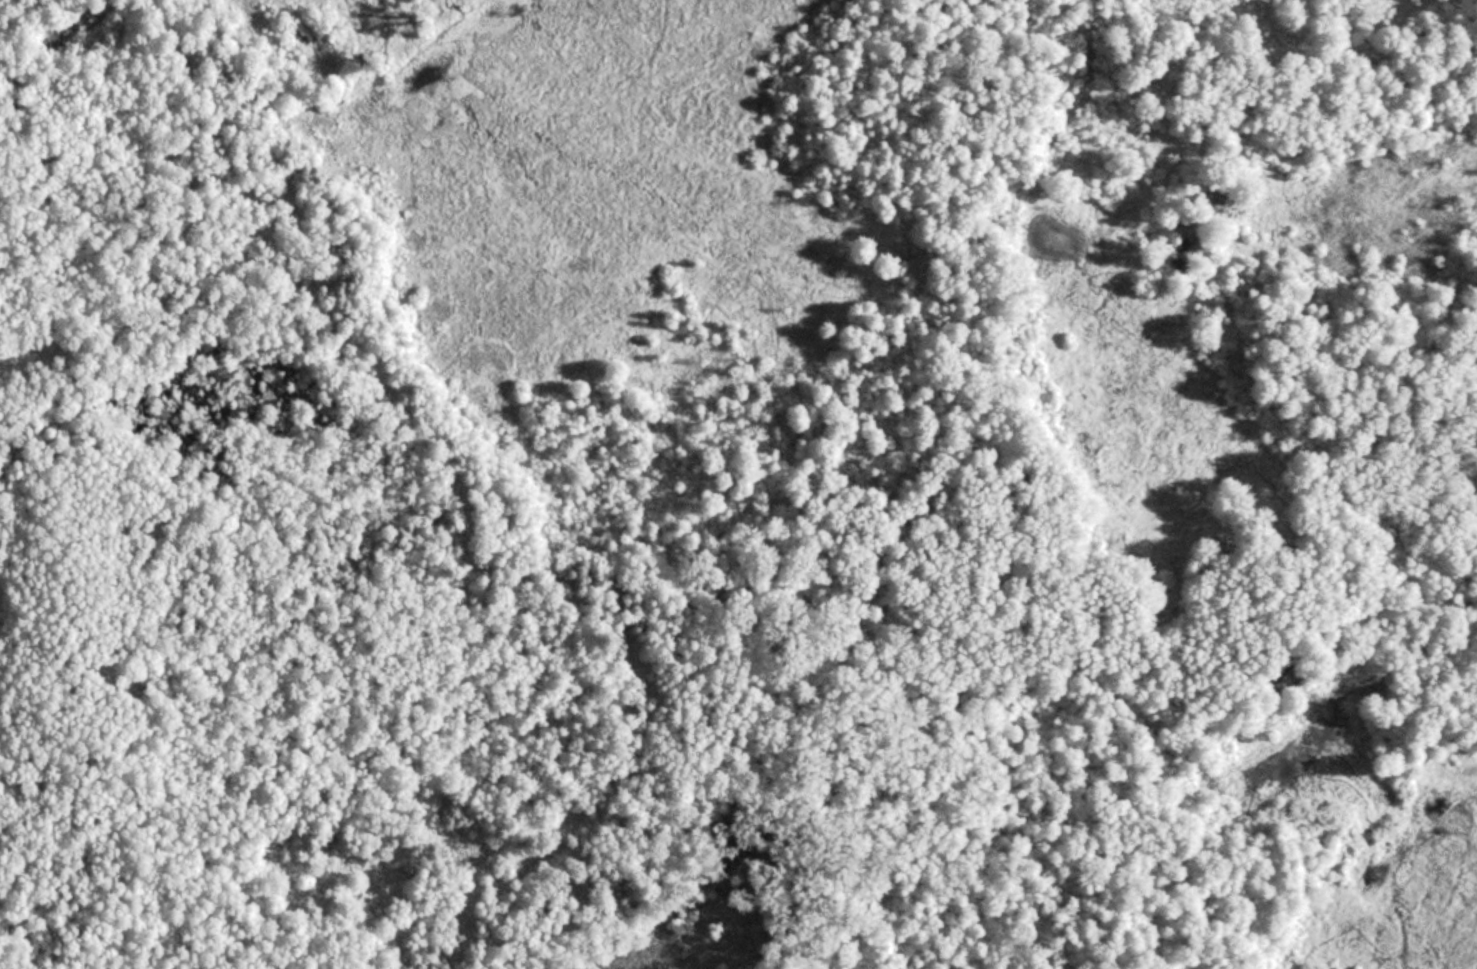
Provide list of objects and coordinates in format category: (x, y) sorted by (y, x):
park: (738, 484)

